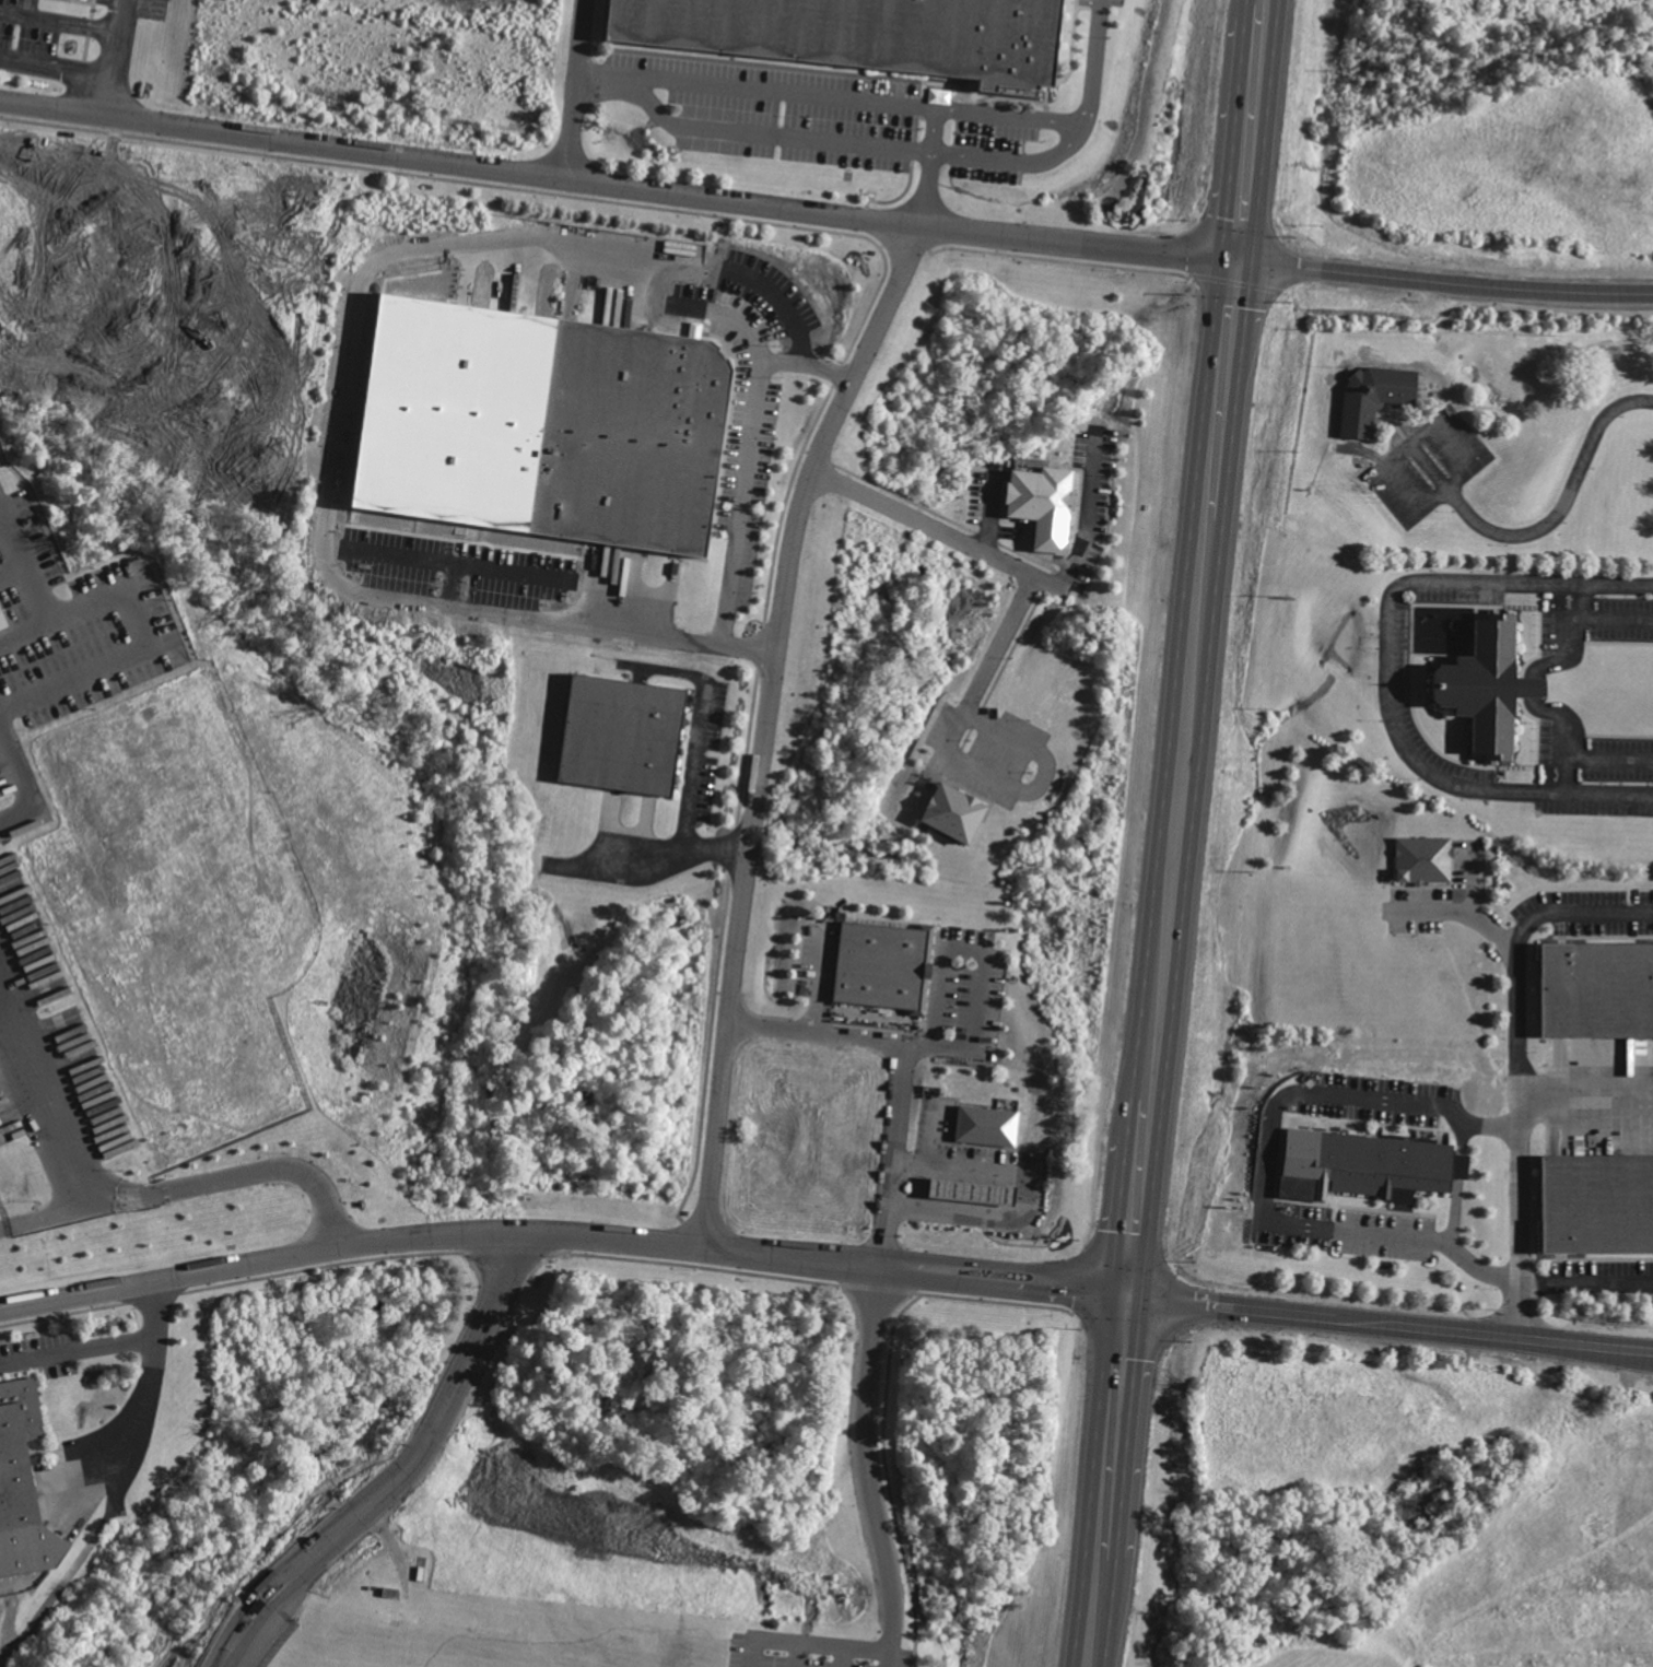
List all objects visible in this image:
road: (1263, 2)
road: (1262, 15)
road: (62, 17)
building: (857, 34)
road: (118, 60)
road: (1090, 60)
road: (58, 64)
road: (754, 90)
road: (573, 91)
road: (1008, 117)
road: (930, 131)
road: (771, 133)
road: (1247, 144)
road: (1015, 161)
road: (161, 185)
road: (617, 189)
road: (923, 189)
traffic signals: (1235, 263)
road: (1443, 282)
road: (778, 302)
road: (729, 316)
flagpole: (776, 343)
road: (807, 363)
road: (137, 375)
flagpole: (779, 375)
building: (1433, 419)
building: (541, 424)
road: (1421, 431)
road: (1453, 443)
road: (1365, 451)
road: (1396, 453)
road: (1428, 465)
road: (1459, 477)
road: (329, 479)
building: (1043, 491)
road: (1412, 497)
road: (740, 501)
road: (5, 508)
road: (1563, 509)
road: (988, 514)
road: (1089, 515)
road: (934, 527)
road: (455, 564)
road: (452, 585)
road: (136, 604)
road: (1617, 617)
building: (2, 620)
road: (26, 635)
road: (1573, 641)
road: (1386, 671)
road: (1192, 681)
building: (1485, 684)
road: (1532, 685)
road: (764, 725)
road: (700, 730)
road: (1564, 733)
building: (624, 738)
road: (1608, 754)
road: (957, 756)
road: (28, 788)
building: (951, 812)
road: (654, 860)
building: (1423, 861)
road: (1430, 909)
road: (1571, 909)
road: (978, 963)
building: (878, 964)
road: (819, 981)
building: (1596, 991)
road: (1516, 1084)
road: (1585, 1096)
road: (1327, 1108)
road: (1148, 1119)
building: (984, 1124)
road: (1461, 1137)
road: (927, 1154)
building: (1364, 1165)
road: (1458, 1165)
road: (947, 1170)
road: (963, 1171)
road: (982, 1173)
road: (997, 1174)
road: (945, 1187)
road: (962, 1188)
building: (970, 1189)
road: (980, 1190)
road: (996, 1191)
road: (1032, 1193)
road: (118, 1197)
road: (942, 1204)
road: (960, 1205)
road: (978, 1207)
building: (1596, 1207)
road: (995, 1209)
road: (1454, 1212)
road: (48, 1216)
road: (1138, 1216)
road: (437, 1232)
road: (1412, 1237)
road: (879, 1267)
road: (904, 1268)
road: (1029, 1270)
road: (1587, 1283)
road: (968, 1288)
traffic signals: (1129, 1291)
road: (1070, 1298)
road: (1232, 1302)
road: (1493, 1333)
road: (78, 1348)
road: (146, 1386)
road: (1115, 1421)
building: (17, 1449)
road: (405, 1472)
road: (1095, 1609)
road: (805, 1640)
road: (798, 1653)
road: (842, 1655)

